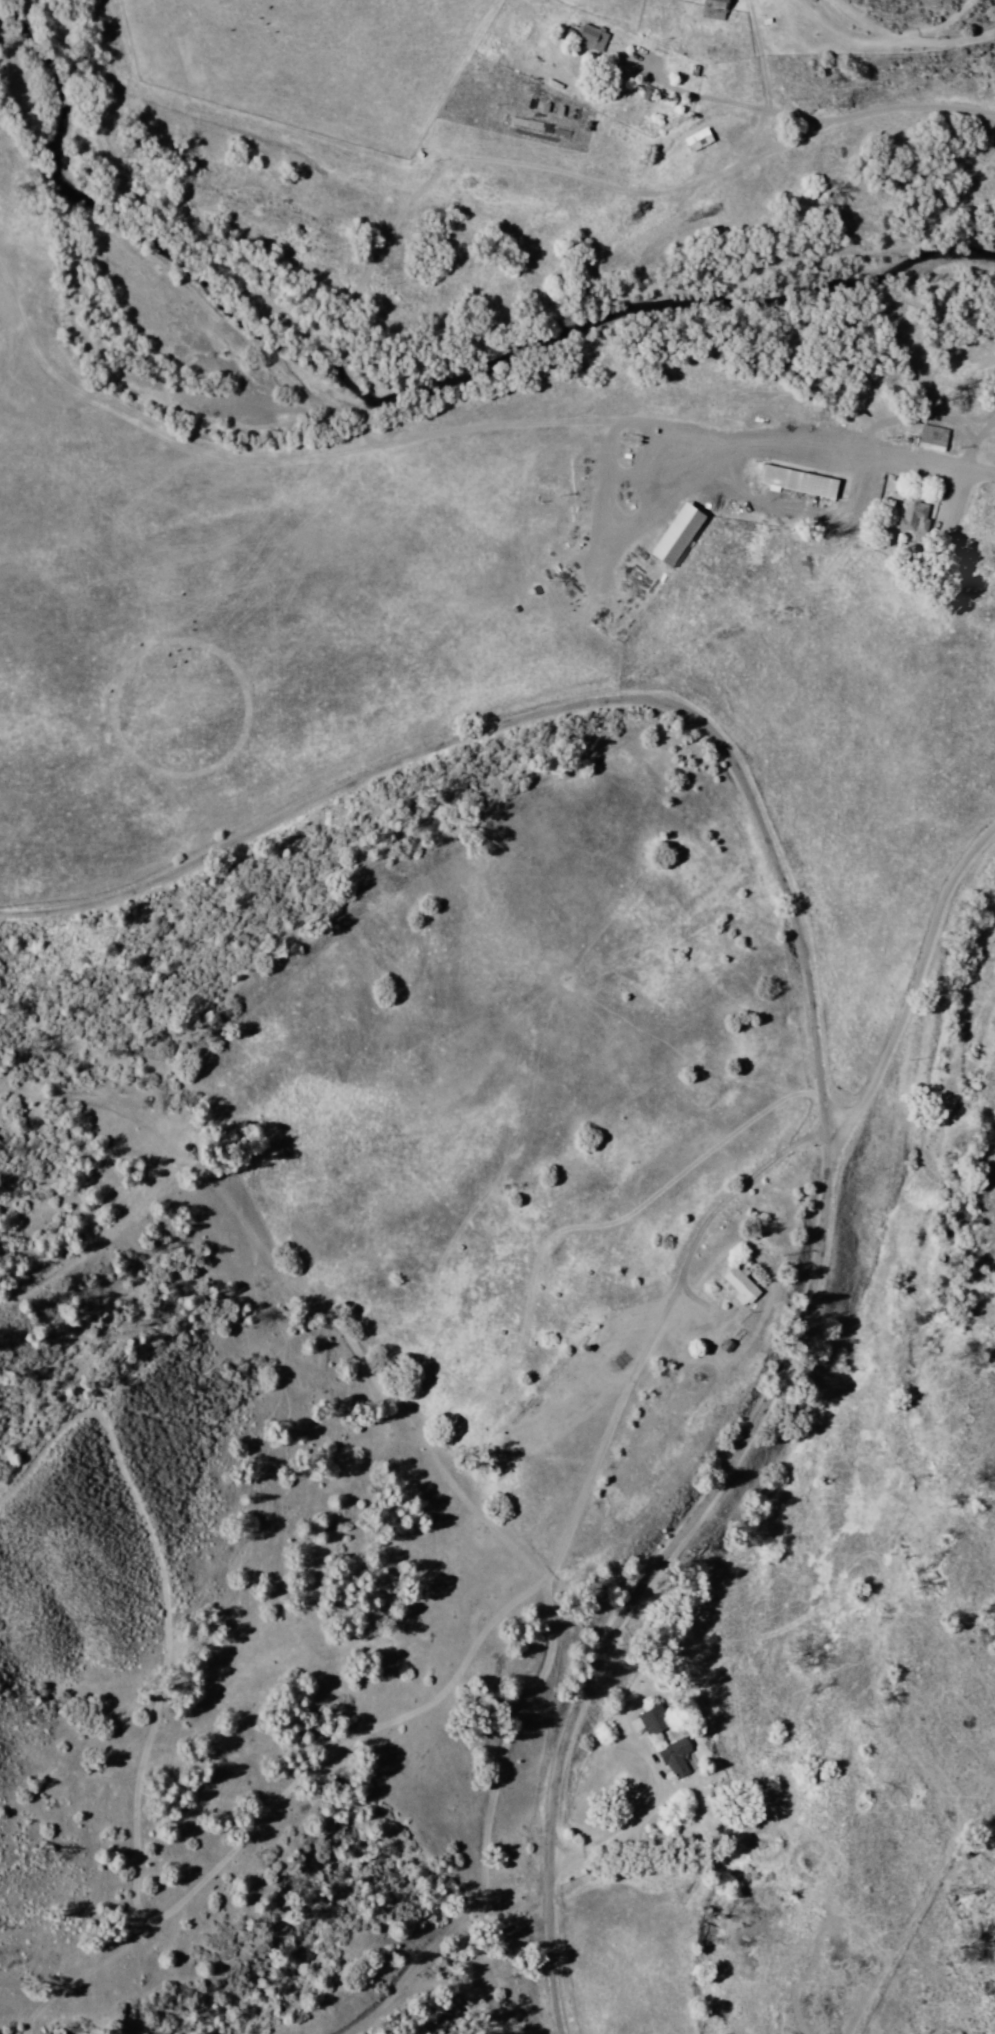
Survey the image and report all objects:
building: (711, 10)
building: (589, 37)
road: (895, 42)
road: (765, 72)
road: (880, 103)
building: (696, 141)
road: (689, 200)
river: (776, 299)
building: (930, 436)
road: (898, 452)
building: (799, 478)
building: (911, 518)
building: (675, 535)
road: (912, 992)
road: (814, 1020)
river: (936, 1137)
building: (741, 1281)
building: (666, 1738)
road: (423, 1986)

